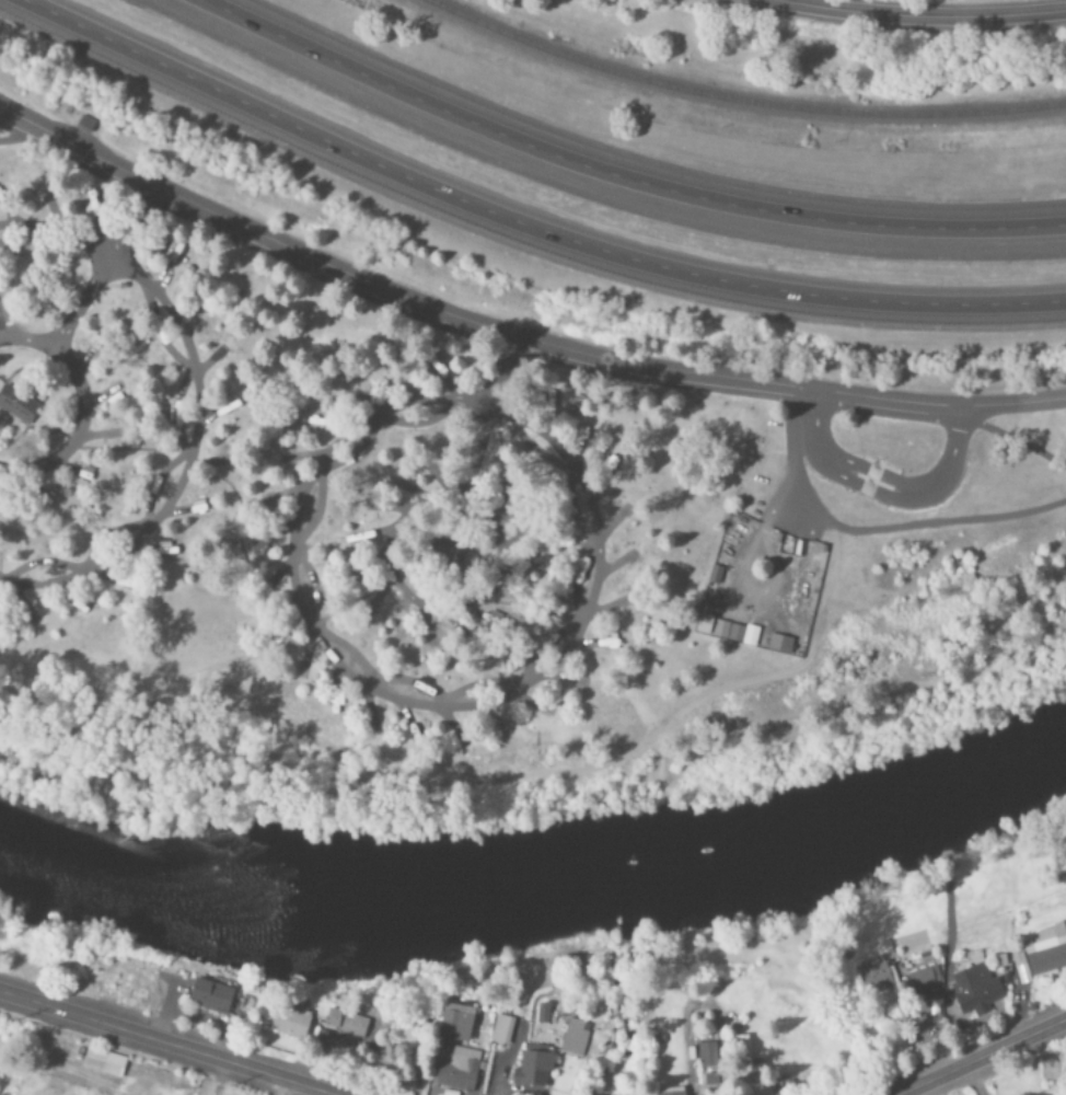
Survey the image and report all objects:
road: (920, 15)
railway: (726, 108)
road: (20, 125)
road: (20, 135)
road: (617, 177)
road: (116, 214)
road: (524, 228)
road: (72, 297)
road: (486, 328)
road: (189, 403)
building: (16, 404)
road: (1016, 405)
road: (82, 406)
road: (476, 410)
road: (1015, 441)
road: (177, 459)
road: (881, 480)
road: (872, 531)
road: (382, 554)
building: (704, 624)
building: (728, 632)
building: (779, 644)
road: (182, 676)
road: (406, 704)
road: (536, 783)
river: (544, 894)
building: (1046, 952)
building: (1020, 969)
building: (874, 978)
building: (924, 983)
building: (975, 990)
building: (210, 996)
building: (542, 1014)
building: (333, 1018)
building: (454, 1023)
building: (292, 1024)
building: (354, 1027)
building: (501, 1030)
building: (575, 1038)
road: (162, 1048)
building: (738, 1051)
building: (707, 1056)
road: (988, 1059)
building: (103, 1063)
building: (459, 1071)
building: (532, 1071)
building: (709, 1080)
road: (280, 1088)
building: (671, 1092)

